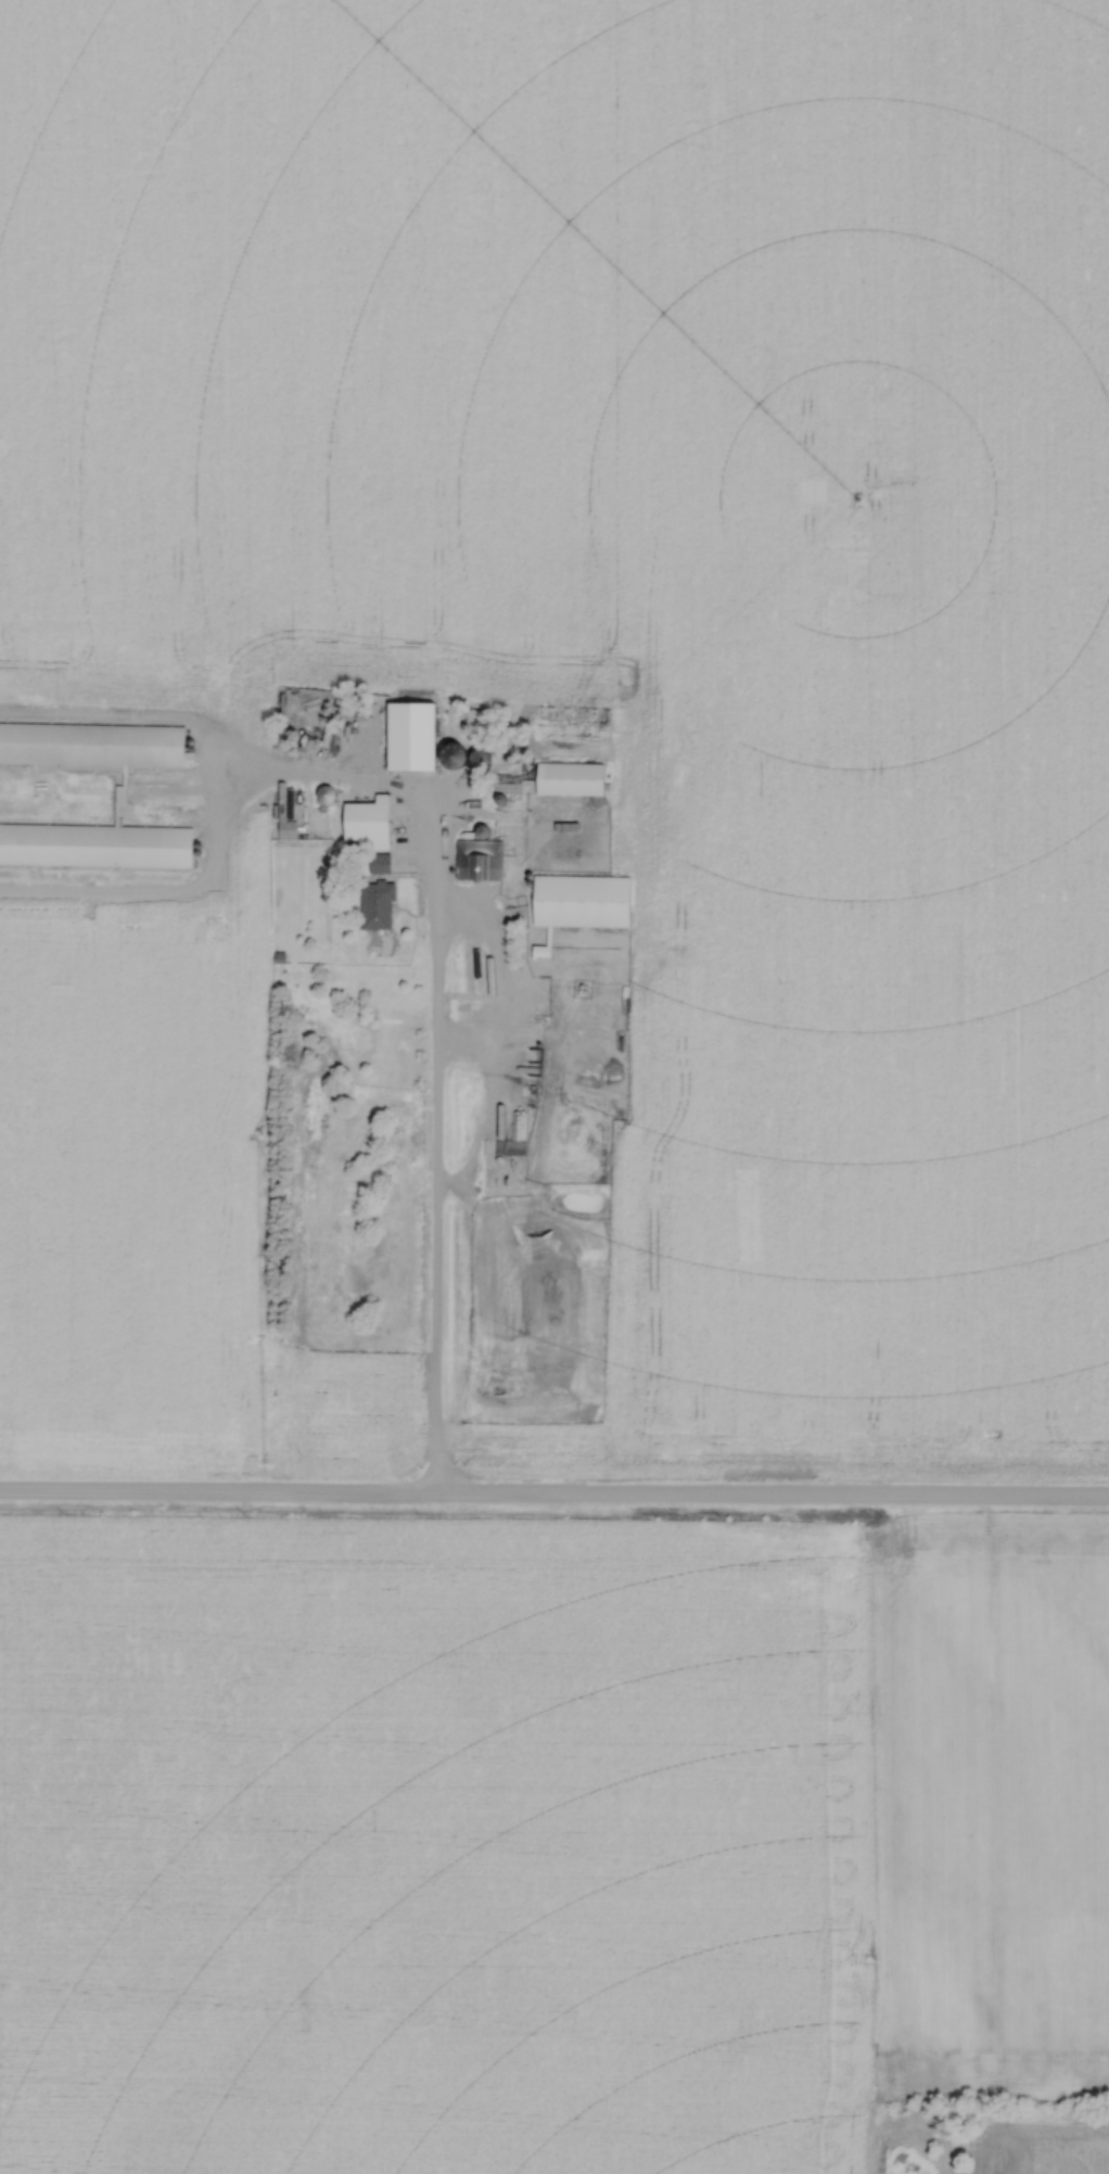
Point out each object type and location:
building: (93, 746)
building: (412, 754)
building: (570, 778)
building: (368, 823)
building: (477, 860)
building: (374, 864)
building: (568, 886)
building: (375, 905)
building: (604, 984)
building: (508, 1146)
road: (433, 1174)
road: (553, 1497)

